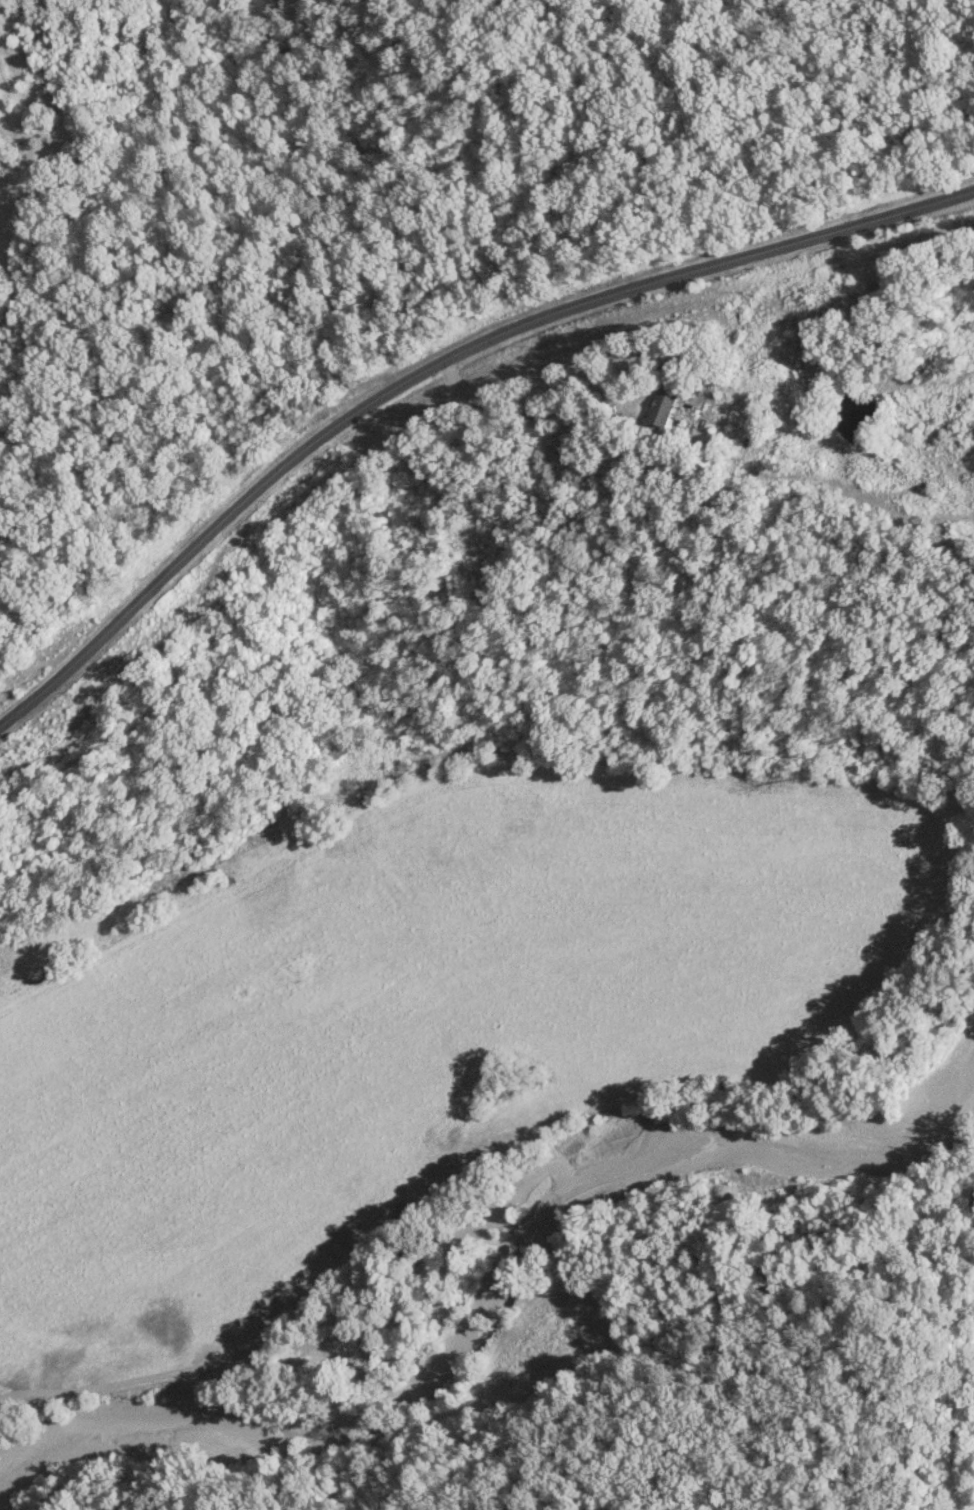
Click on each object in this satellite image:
road: (435, 361)
building: (663, 404)
road: (787, 460)

